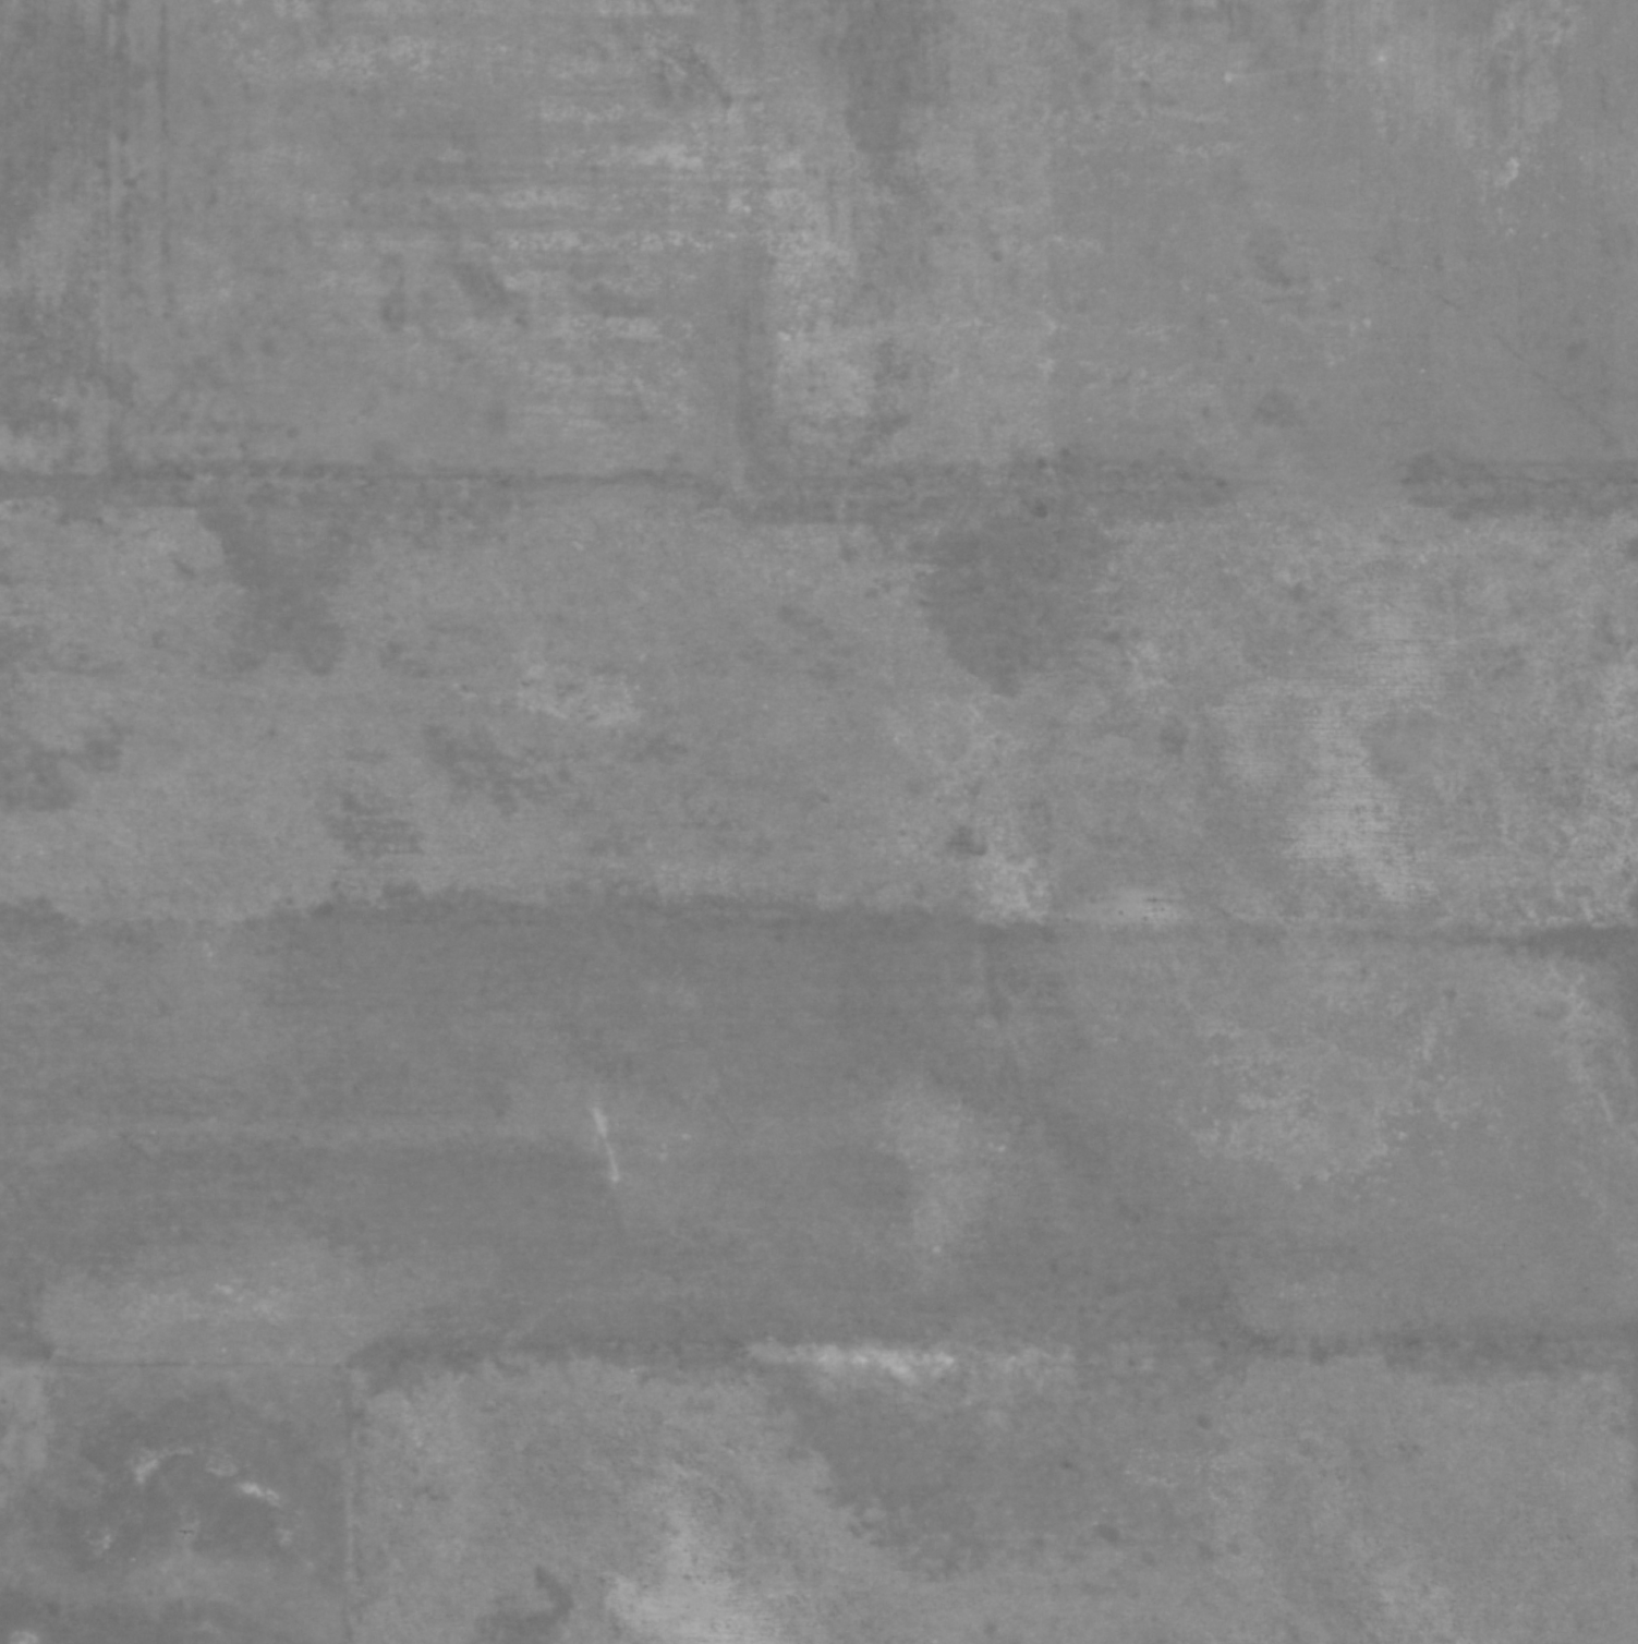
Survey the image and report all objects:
crop: (818, 243)

